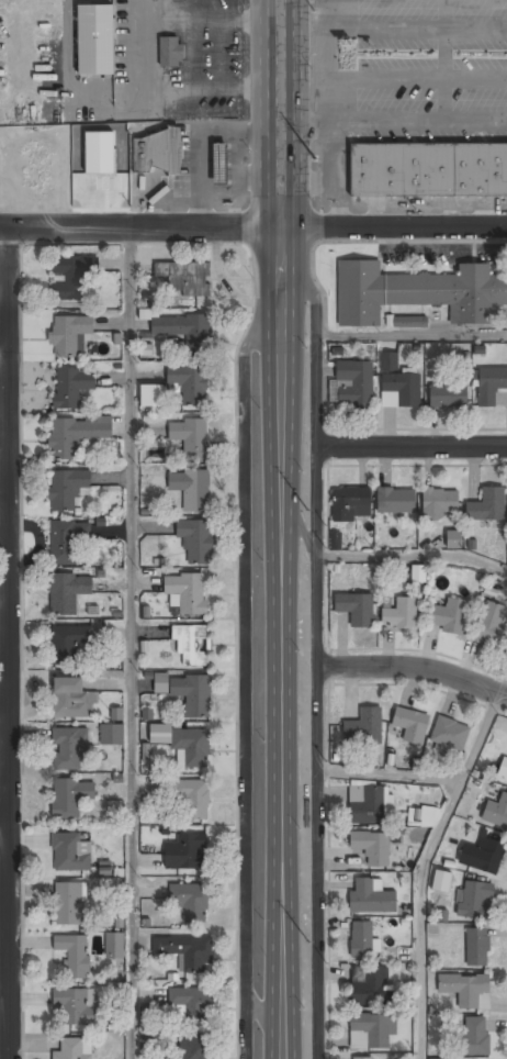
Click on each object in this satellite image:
building: (94, 40)
building: (170, 51)
parking lot: (401, 76)
building: (100, 152)
building: (156, 153)
building: (219, 164)
power tower: (314, 164)
building: (428, 168)
road: (4, 230)
building: (185, 277)
building: (70, 278)
building: (417, 291)
building: (408, 321)
building: (184, 328)
building: (69, 334)
road: (410, 334)
road: (4, 354)
building: (388, 360)
building: (189, 383)
building: (354, 383)
building: (491, 384)
building: (71, 386)
building: (403, 388)
road: (9, 394)
building: (150, 394)
building: (449, 397)
building: (75, 435)
building: (190, 437)
road: (412, 447)
building: (191, 488)
building: (67, 489)
building: (396, 501)
building: (349, 502)
building: (440, 503)
building: (488, 505)
road: (4, 520)
road: (280, 528)
road: (303, 532)
building: (195, 539)
building: (453, 539)
building: (336, 540)
building: (67, 542)
road: (413, 555)
power tower: (309, 570)
building: (417, 573)
building: (188, 591)
building: (68, 592)
building: (356, 609)
building: (401, 613)
building: (449, 615)
building: (491, 623)
building: (68, 642)
road: (133, 644)
building: (191, 644)
road: (243, 646)
road: (319, 654)
road: (415, 669)
building: (160, 682)
road: (504, 682)
building: (193, 694)
building: (71, 699)
building: (116, 713)
building: (363, 724)
building: (410, 724)
building: (111, 734)
building: (450, 735)
building: (185, 744)
building: (69, 748)
building: (503, 768)
road: (391, 776)
building: (70, 798)
building: (193, 798)
building: (367, 804)
building: (496, 811)
building: (428, 816)
road: (5, 841)
building: (372, 847)
building: (70, 852)
building: (185, 852)
building: (483, 856)
road: (422, 867)
building: (371, 896)
building: (474, 900)
building: (191, 901)
building: (68, 903)
power tower: (309, 918)
building: (362, 938)
building: (114, 945)
building: (477, 947)
building: (185, 951)
building: (74, 955)
building: (369, 985)
building: (465, 989)
building: (192, 1004)
building: (76, 1005)
road: (261, 1017)
road: (244, 1026)
building: (370, 1032)
building: (474, 1037)
building: (193, 1047)
building: (74, 1049)
building: (361, 1058)
building: (435, 1058)

